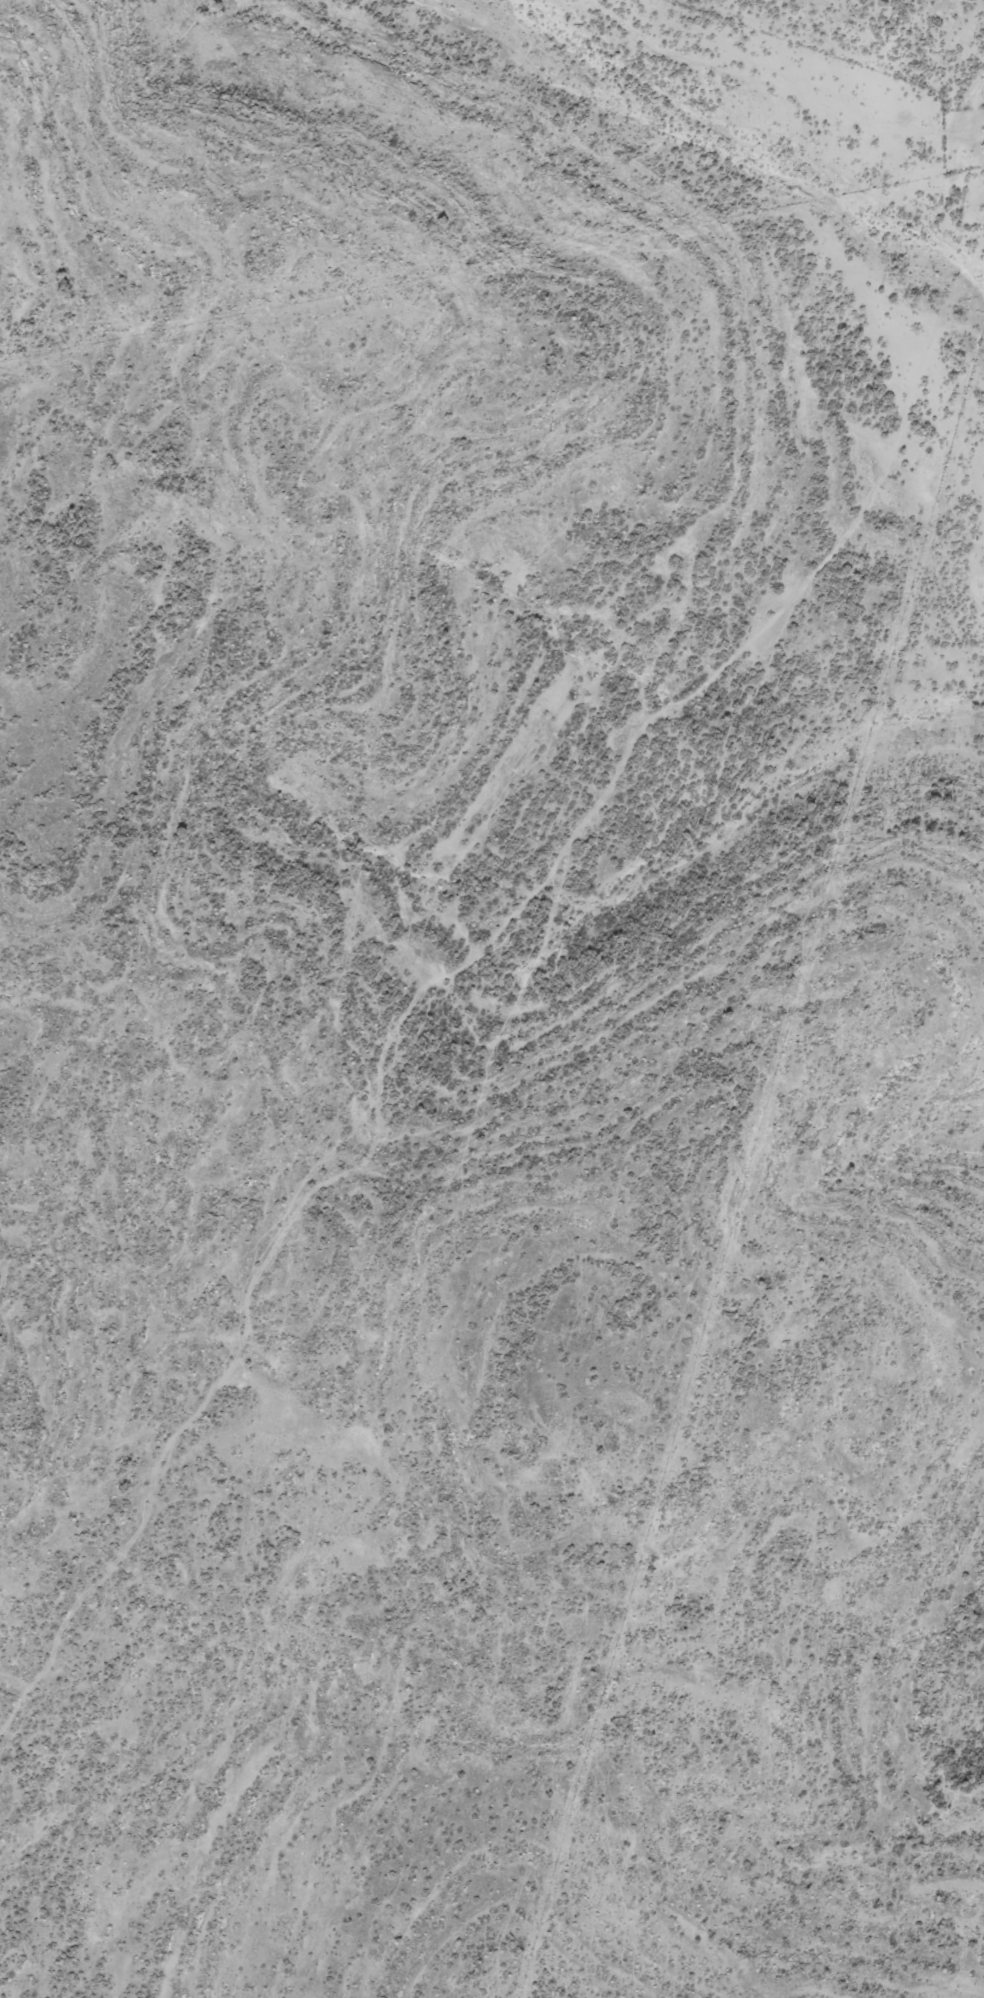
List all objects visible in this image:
road: (782, 91)

